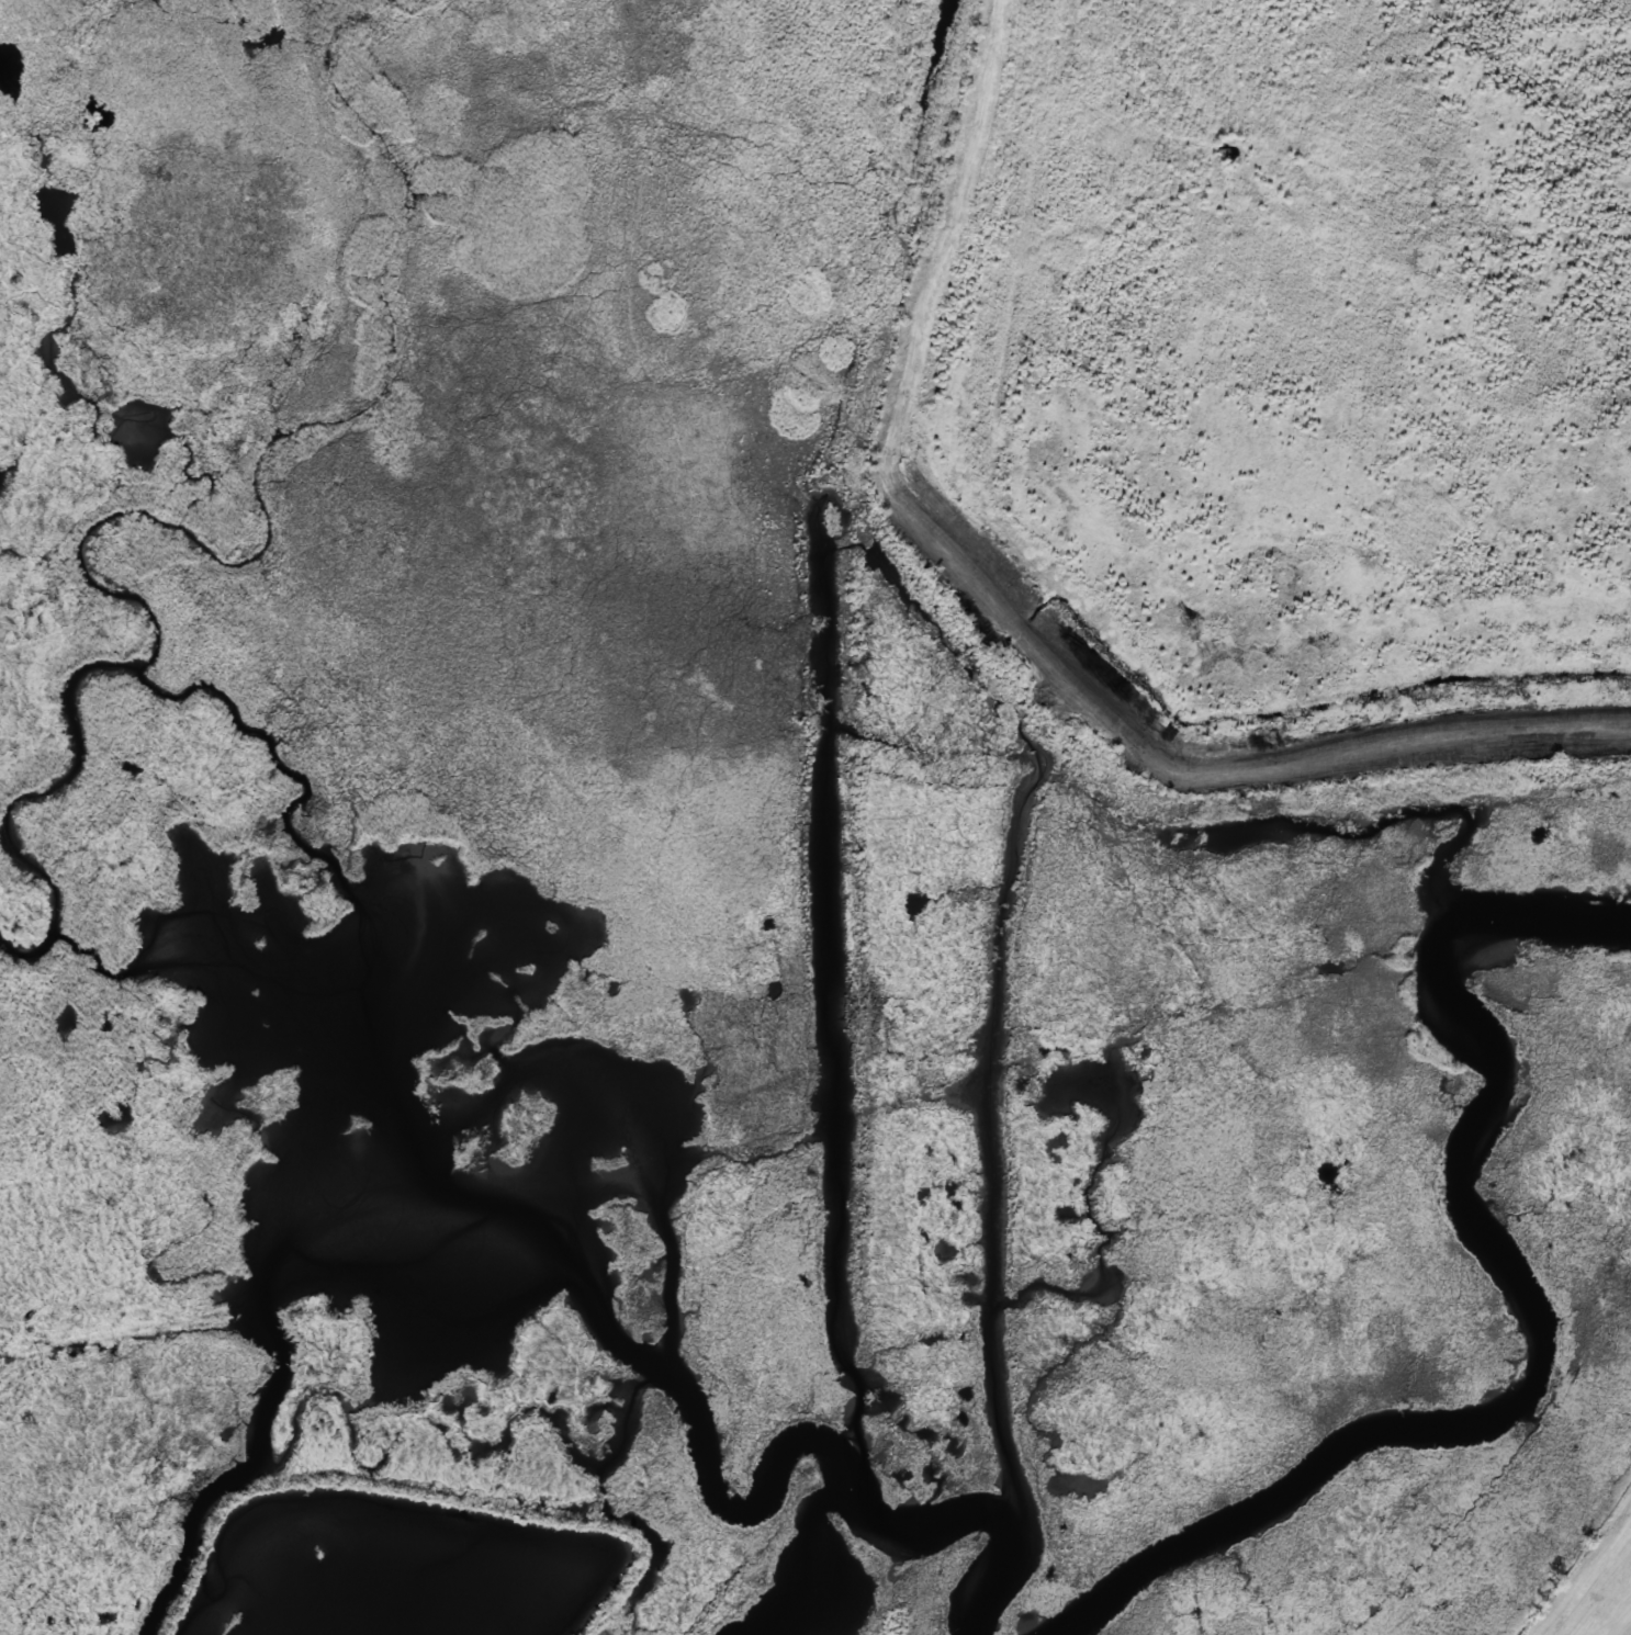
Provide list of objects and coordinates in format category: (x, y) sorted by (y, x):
road: (1629, 1632)

